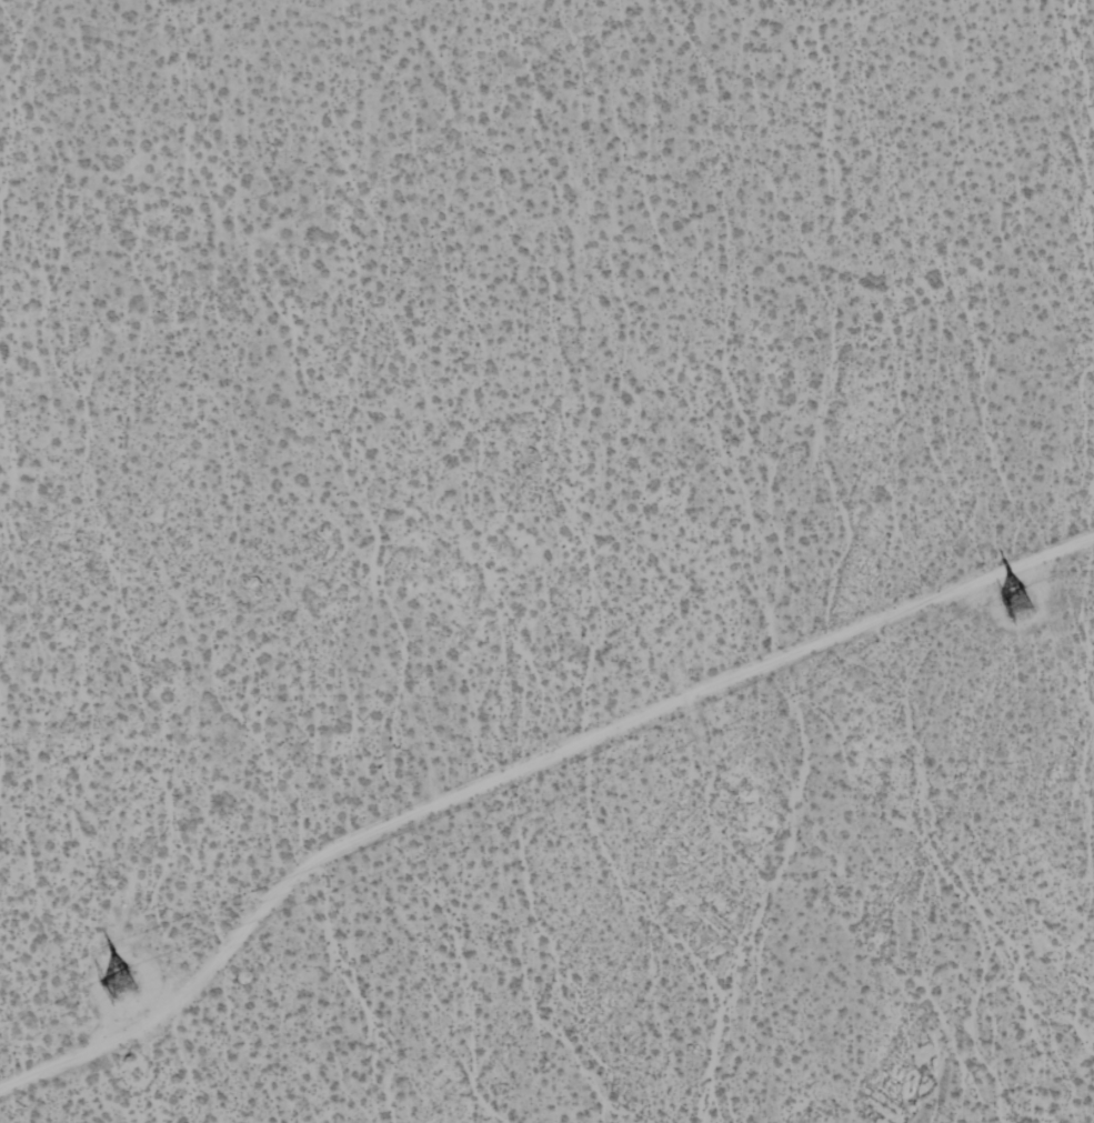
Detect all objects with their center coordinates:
power tower: (993, 610)
road: (519, 769)
power tower: (129, 992)

